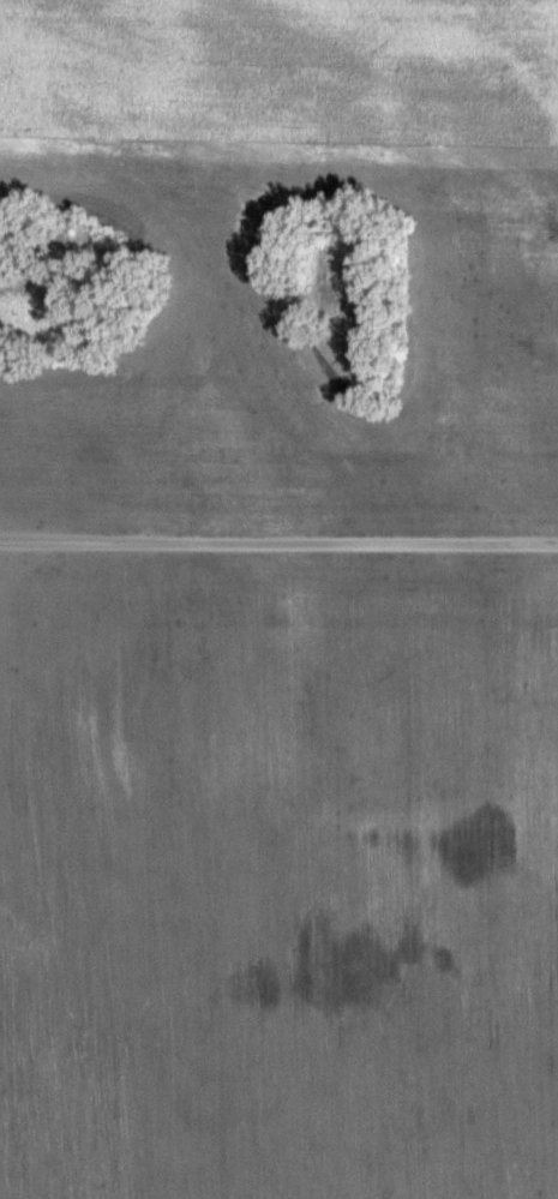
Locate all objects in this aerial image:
crop: (475, 260)
road: (278, 544)
crop: (278, 880)

